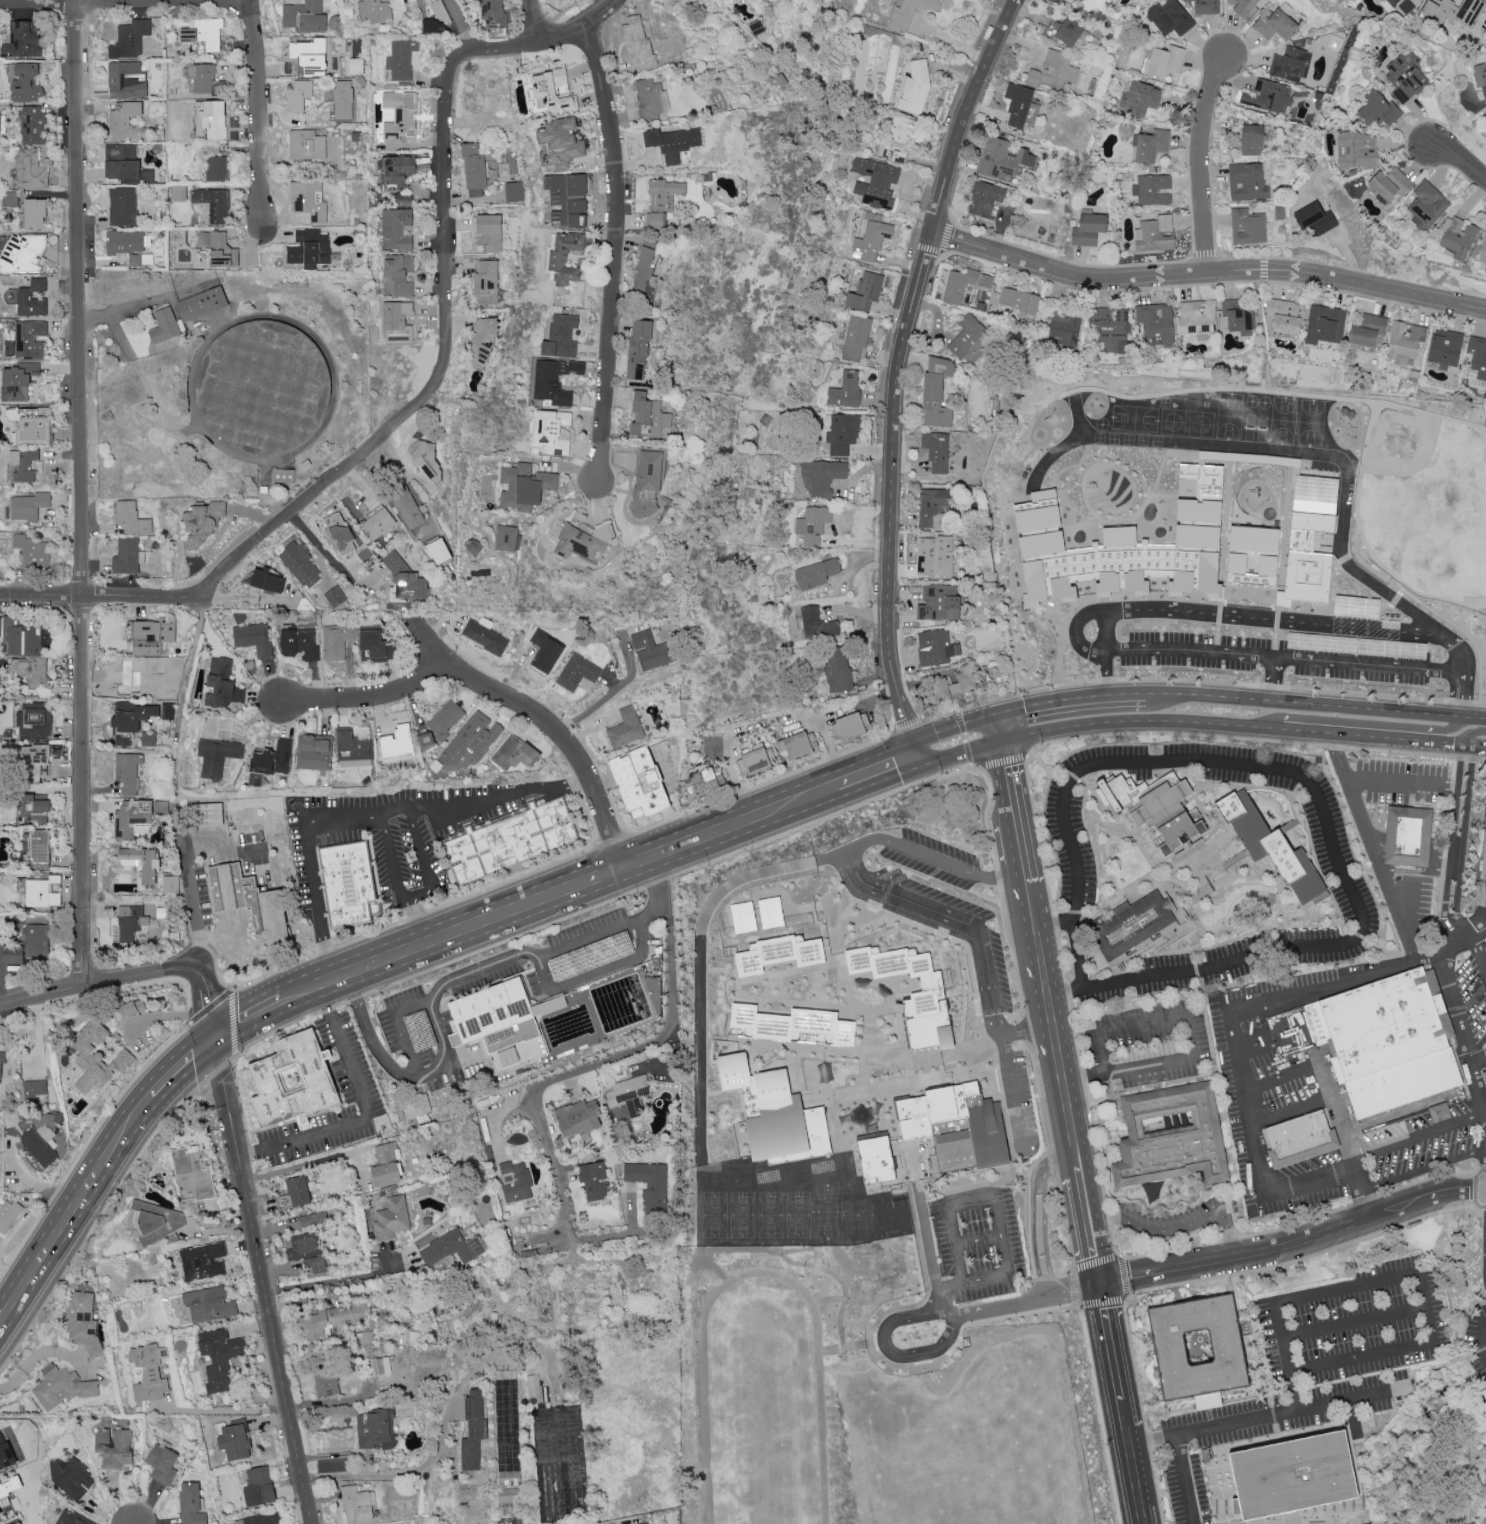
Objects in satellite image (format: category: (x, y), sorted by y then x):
road: (126, 1)
building: (1404, 5)
building: (1206, 7)
building: (1243, 7)
building: (374, 10)
building: (909, 11)
building: (1452, 11)
building: (491, 14)
building: (304, 16)
building: (1170, 17)
road: (534, 23)
road: (462, 25)
building: (1274, 25)
road: (577, 27)
building: (1070, 31)
building: (203, 33)
building: (130, 39)
building: (22, 40)
building: (637, 45)
building: (400, 61)
building: (1163, 61)
building: (307, 62)
building: (1290, 64)
building: (355, 66)
building: (1053, 72)
building: (1405, 77)
building: (1480, 77)
building: (205, 79)
building: (126, 80)
building: (25, 83)
building: (915, 88)
building: (551, 90)
building: (298, 95)
building: (1267, 96)
building: (651, 98)
building: (342, 99)
building: (1139, 99)
building: (1377, 108)
road: (259, 115)
building: (399, 116)
building: (210, 119)
building: (0, 121)
building: (126, 121)
building: (31, 125)
building: (895, 140)
building: (1251, 140)
building: (672, 142)
building: (560, 143)
building: (306, 145)
building: (1149, 146)
building: (1356, 150)
building: (1001, 158)
road: (1461, 161)
building: (123, 164)
road: (1201, 164)
building: (216, 168)
building: (29, 169)
building: (473, 169)
building: (398, 171)
road: (448, 173)
building: (875, 182)
building: (1247, 182)
building: (1390, 183)
building: (1153, 189)
building: (514, 191)
building: (178, 192)
building: (570, 198)
building: (984, 199)
building: (10, 200)
building: (309, 200)
building: (662, 201)
building: (213, 204)
building: (1426, 205)
building: (122, 206)
building: (34, 214)
building: (1315, 219)
building: (1247, 227)
building: (1088, 229)
building: (396, 230)
building: (488, 232)
building: (1155, 234)
building: (1457, 237)
building: (870, 241)
building: (130, 246)
building: (1483, 248)
building: (308, 249)
building: (222, 251)
building: (23, 253)
road: (615, 253)
building: (564, 257)
building: (644, 265)
road: (1207, 274)
building: (397, 275)
building: (486, 282)
building: (963, 284)
building: (865, 291)
building: (24, 295)
building: (202, 303)
building: (1238, 316)
building: (1196, 317)
building: (1284, 317)
building: (397, 322)
building: (1156, 322)
building: (1061, 323)
building: (1324, 325)
building: (164, 326)
building: (1112, 328)
building: (1367, 330)
building: (561, 336)
building: (855, 338)
building: (30, 339)
building: (970, 339)
building: (483, 340)
building: (1404, 341)
building: (638, 350)
building: (1445, 350)
building: (1476, 357)
road: (895, 375)
building: (20, 379)
building: (553, 380)
building: (262, 384)
storage tank: (262, 384)
building: (845, 391)
building: (936, 392)
building: (648, 416)
building: (30, 424)
building: (550, 433)
building: (842, 434)
building: (935, 451)
building: (426, 462)
building: (23, 464)
building: (282, 475)
building: (647, 482)
road: (324, 484)
building: (524, 486)
road: (80, 491)
building: (28, 506)
building: (406, 506)
building: (931, 507)
building: (131, 518)
building: (202, 524)
building: (378, 524)
building: (812, 525)
park: (1429, 526)
building: (339, 535)
building: (1310, 537)
building: (507, 538)
building: (580, 540)
building: (1123, 550)
building: (438, 551)
building: (32, 552)
building: (127, 556)
building: (934, 556)
building: (1252, 556)
building: (300, 565)
building: (816, 573)
building: (405, 579)
building: (267, 580)
road: (102, 594)
building: (334, 596)
park: (1305, 596)
building: (939, 602)
road: (1304, 622)
building: (817, 624)
road: (1108, 624)
parking lot: (1126, 632)
building: (150, 635)
building: (486, 636)
park: (1386, 637)
building: (22, 638)
building: (253, 638)
building: (336, 641)
park: (1358, 642)
building: (299, 644)
building: (374, 646)
building: (934, 648)
building: (652, 651)
building: (545, 653)
road: (1285, 656)
parking lot: (1372, 663)
building: (837, 669)
building: (31, 670)
road: (189, 670)
road: (1105, 670)
building: (577, 672)
road: (1271, 677)
road: (1202, 680)
building: (222, 684)
building: (963, 684)
building: (939, 689)
road: (610, 694)
road: (1464, 695)
road: (1208, 697)
road: (368, 698)
road: (1071, 699)
road: (1378, 711)
traffic signals: (998, 714)
road: (543, 718)
building: (135, 719)
road: (906, 722)
road: (1347, 722)
building: (30, 723)
building: (441, 724)
road: (1211, 724)
building: (849, 726)
road: (1096, 726)
road: (1000, 727)
building: (625, 728)
road: (1279, 730)
road: (1470, 733)
building: (148, 739)
building: (397, 741)
traffic signals: (1003, 741)
road: (1407, 741)
building: (470, 742)
traffic signals: (914, 743)
building: (796, 745)
building: (353, 750)
building: (312, 753)
road: (961, 753)
building: (514, 754)
building: (217, 756)
building: (271, 757)
building: (29, 760)
building: (756, 760)
road: (1041, 761)
road: (856, 765)
road: (971, 765)
traffic signals: (921, 767)
road: (1414, 767)
building: (128, 772)
road: (175, 776)
road: (1378, 779)
building: (703, 781)
road: (882, 782)
building: (641, 784)
road: (578, 785)
road: (487, 800)
building: (35, 807)
building: (1155, 807)
building: (160, 808)
road: (1321, 808)
road: (395, 809)
building: (206, 814)
building: (132, 816)
road: (784, 820)
road: (806, 824)
road: (306, 833)
road: (1019, 834)
building: (1416, 836)
building: (509, 840)
building: (1270, 847)
road: (1462, 848)
building: (39, 849)
road: (218, 849)
road: (1446, 849)
road: (1452, 849)
road: (392, 856)
road: (561, 860)
road: (1375, 860)
road: (427, 862)
building: (1484, 862)
building: (141, 865)
road: (951, 870)
building: (348, 882)
building: (170, 884)
road: (191, 889)
road: (661, 893)
building: (40, 894)
building: (249, 901)
building: (770, 912)
road: (501, 916)
building: (742, 917)
road: (419, 920)
road: (1410, 923)
building: (129, 925)
road: (953, 926)
building: (1133, 927)
road: (225, 930)
road: (699, 939)
road: (1468, 939)
road: (591, 940)
building: (35, 941)
road: (1365, 941)
parking lot: (591, 946)
road: (1079, 949)
road: (325, 953)
building: (778, 954)
road: (1480, 955)
road: (1061, 959)
road: (599, 974)
road: (95, 981)
road: (437, 991)
building: (927, 996)
road: (210, 1001)
road: (1456, 1007)
building: (125, 1011)
road: (1204, 1011)
building: (495, 1016)
road: (247, 1018)
road: (235, 1026)
building: (790, 1026)
road: (1449, 1033)
road: (1234, 1035)
road: (371, 1037)
parking lot: (419, 1037)
traffic signals: (217, 1040)
road: (1193, 1040)
building: (1390, 1042)
road: (444, 1044)
road: (1254, 1046)
building: (95, 1059)
road: (1479, 1062)
parking lot: (348, 1063)
road: (184, 1066)
road: (585, 1067)
building: (1, 1068)
road: (1008, 1069)
road: (1484, 1071)
road: (1061, 1074)
road: (1472, 1074)
road: (1282, 1077)
building: (1484, 1077)
building: (291, 1081)
road: (1479, 1087)
building: (34, 1091)
parking lot: (1017, 1093)
building: (627, 1095)
building: (415, 1105)
road: (146, 1108)
road: (1291, 1111)
building: (773, 1112)
building: (578, 1116)
road: (371, 1117)
building: (11, 1119)
building: (956, 1126)
road: (1420, 1135)
building: (1177, 1137)
building: (1307, 1137)
road: (1348, 1139)
building: (41, 1143)
road: (86, 1145)
building: (875, 1159)
road: (310, 1162)
building: (385, 1164)
road: (1426, 1168)
building: (192, 1173)
building: (514, 1180)
building: (593, 1180)
building: (649, 1182)
road: (1476, 1188)
building: (293, 1193)
road: (997, 1210)
park: (827, 1212)
road: (1041, 1213)
park: (713, 1214)
park: (742, 1214)
park: (770, 1214)
park: (797, 1214)
building: (8, 1215)
building: (391, 1218)
road: (67, 1219)
building: (313, 1219)
building: (152, 1222)
road: (1178, 1228)
road: (92, 1229)
road: (979, 1240)
road: (928, 1241)
parking lot: (974, 1243)
road: (1294, 1243)
building: (303, 1246)
building: (451, 1246)
road: (1093, 1249)
building: (202, 1261)
road: (334, 1280)
traffic signals: (1098, 1280)
road: (264, 1281)
road: (1190, 1281)
road: (1073, 1284)
road: (1342, 1290)
park: (892, 1296)
building: (208, 1304)
road: (1080, 1305)
road: (1000, 1307)
building: (335, 1318)
building: (81, 1322)
road: (1357, 1322)
road: (1483, 1334)
road: (937, 1336)
road: (1483, 1343)
building: (1170, 1346)
road: (1476, 1351)
building: (219, 1358)
road: (1258, 1362)
building: (380, 1366)
building: (150, 1373)
building: (325, 1384)
road: (1001, 1385)
building: (61, 1387)
road: (1054, 1391)
road: (1269, 1393)
road: (1352, 1399)
road: (1120, 1401)
track: (763, 1405)
road: (226, 1411)
road: (1169, 1413)
road: (1396, 1413)
road: (1098, 1414)
road: (1317, 1429)
building: (374, 1430)
building: (473, 1430)
park: (958, 1431)
building: (234, 1442)
building: (113, 1447)
building: (5, 1452)
road: (1078, 1454)
road: (1182, 1456)
building: (162, 1462)
road: (394, 1475)
building: (1294, 1475)
building: (71, 1479)
building: (258, 1486)
building: (10, 1487)
building: (508, 1497)
building: (191, 1503)
building: (356, 1504)
building: (72, 1518)
building: (261, 1520)
road: (1274, 1520)
road: (1292, 1520)
building: (19, 1523)
building: (647, 1523)

